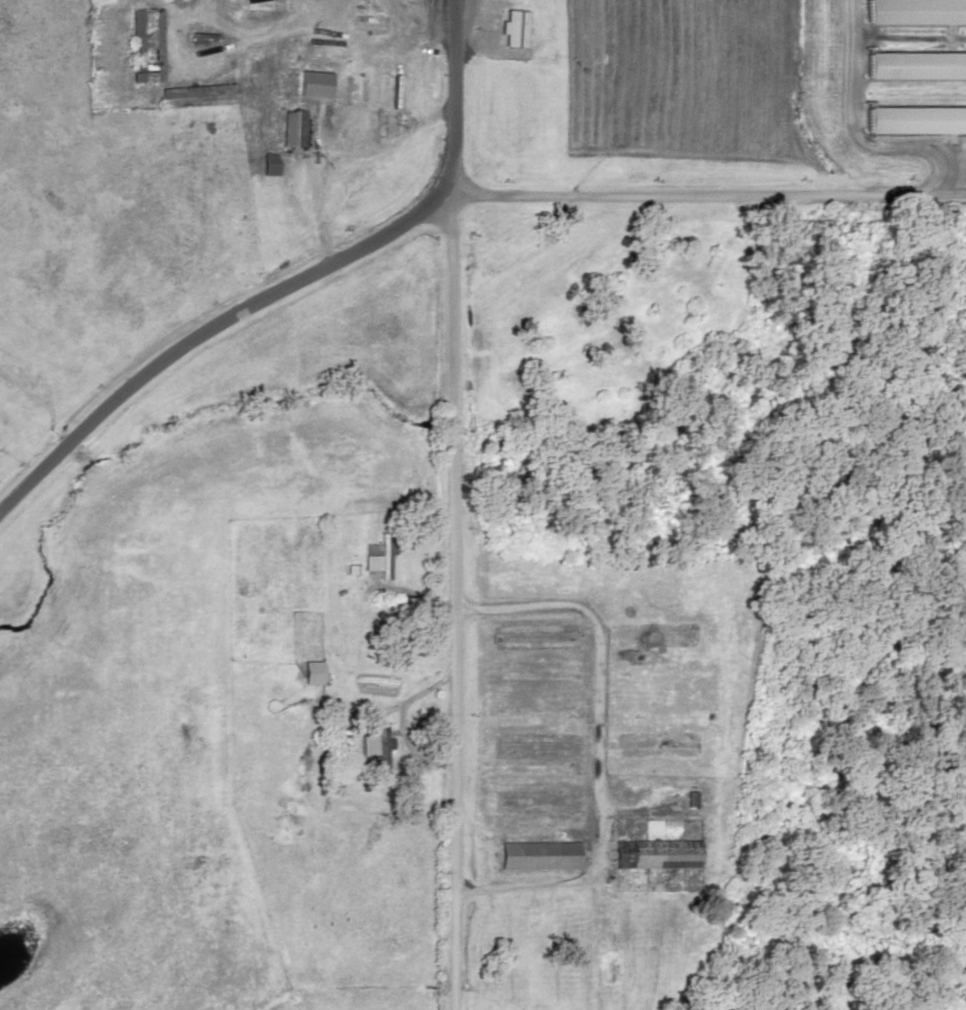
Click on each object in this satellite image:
building: (914, 12)
building: (512, 29)
building: (146, 46)
building: (914, 66)
building: (314, 85)
building: (197, 96)
building: (914, 121)
building: (294, 129)
building: (270, 165)
road: (433, 190)
road: (455, 505)
building: (381, 557)
road: (598, 731)
building: (382, 750)
building: (691, 800)
building: (658, 854)
building: (540, 856)

